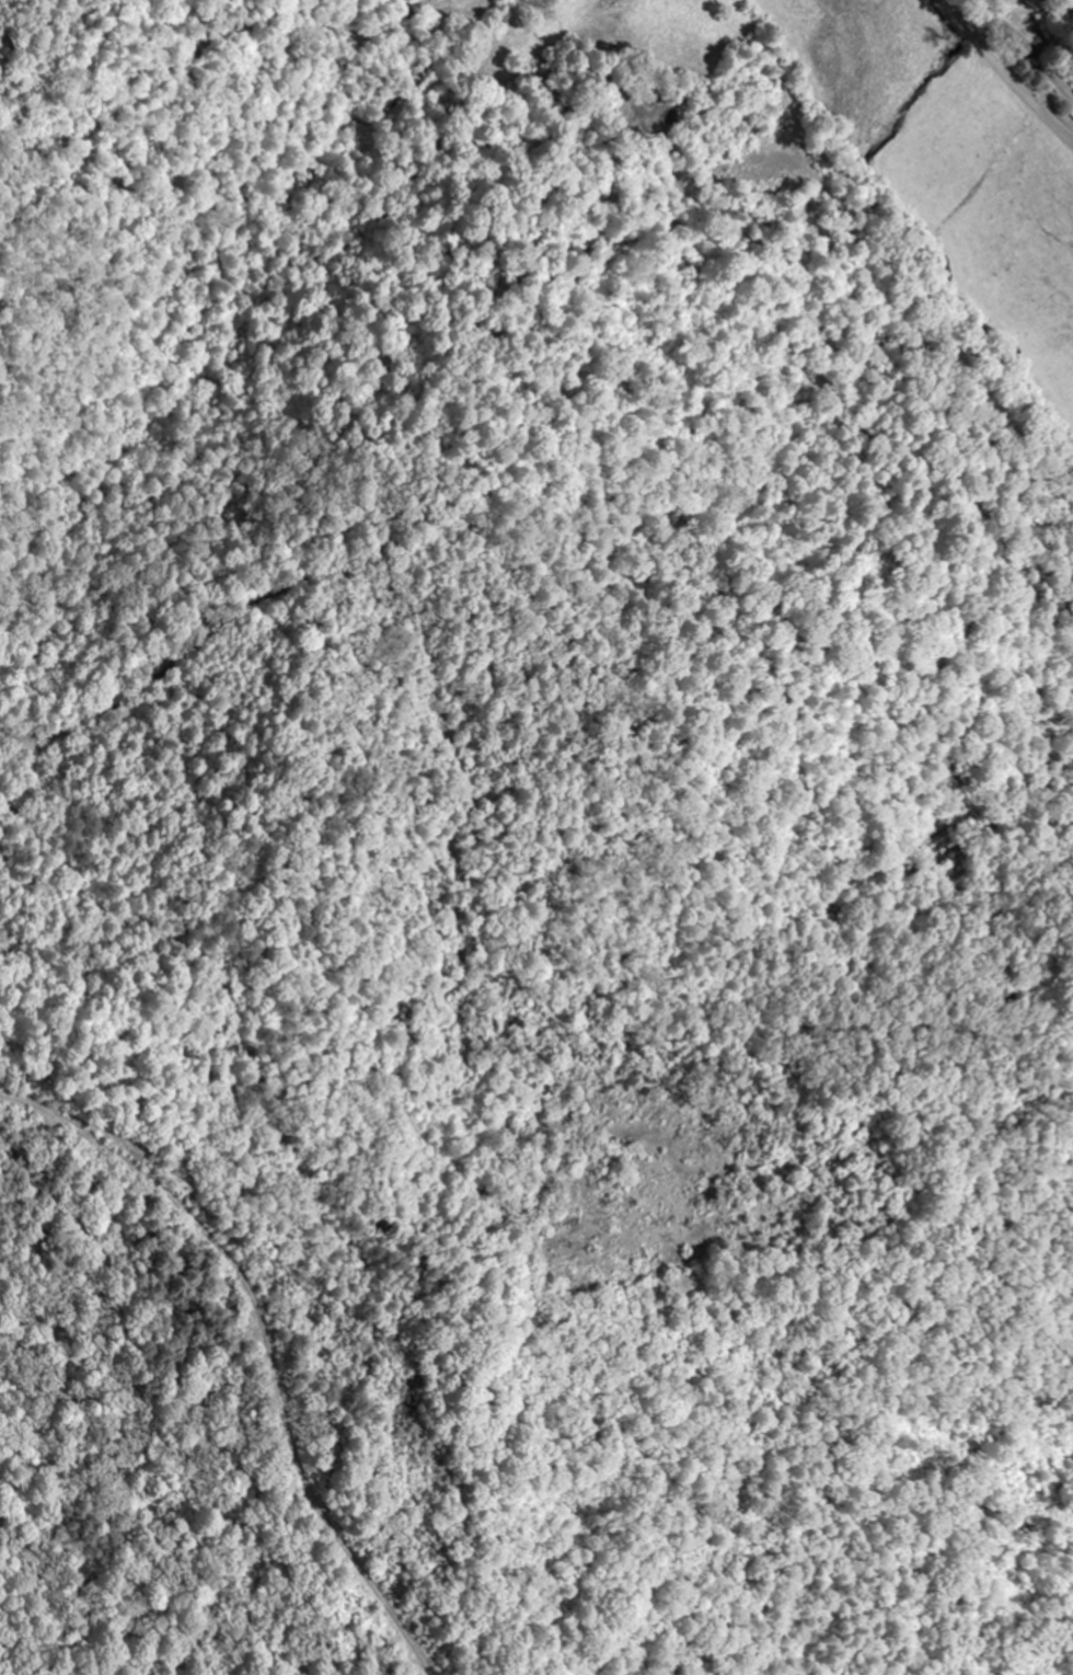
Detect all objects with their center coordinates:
road: (1006, 73)

